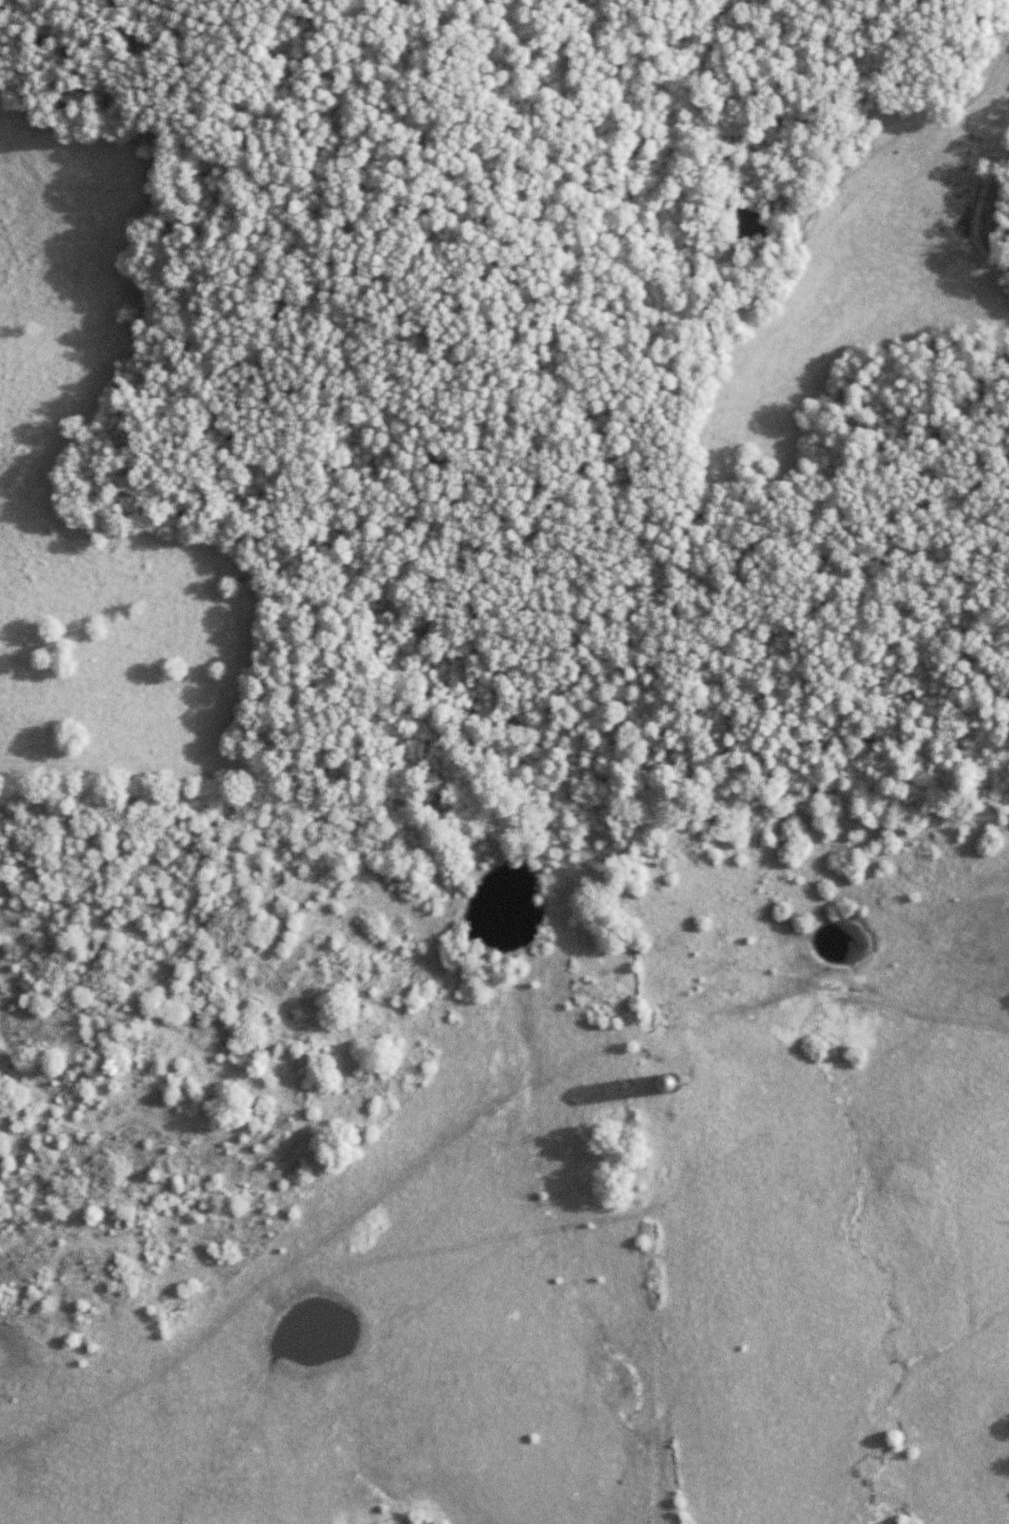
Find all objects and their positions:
road: (991, 217)

